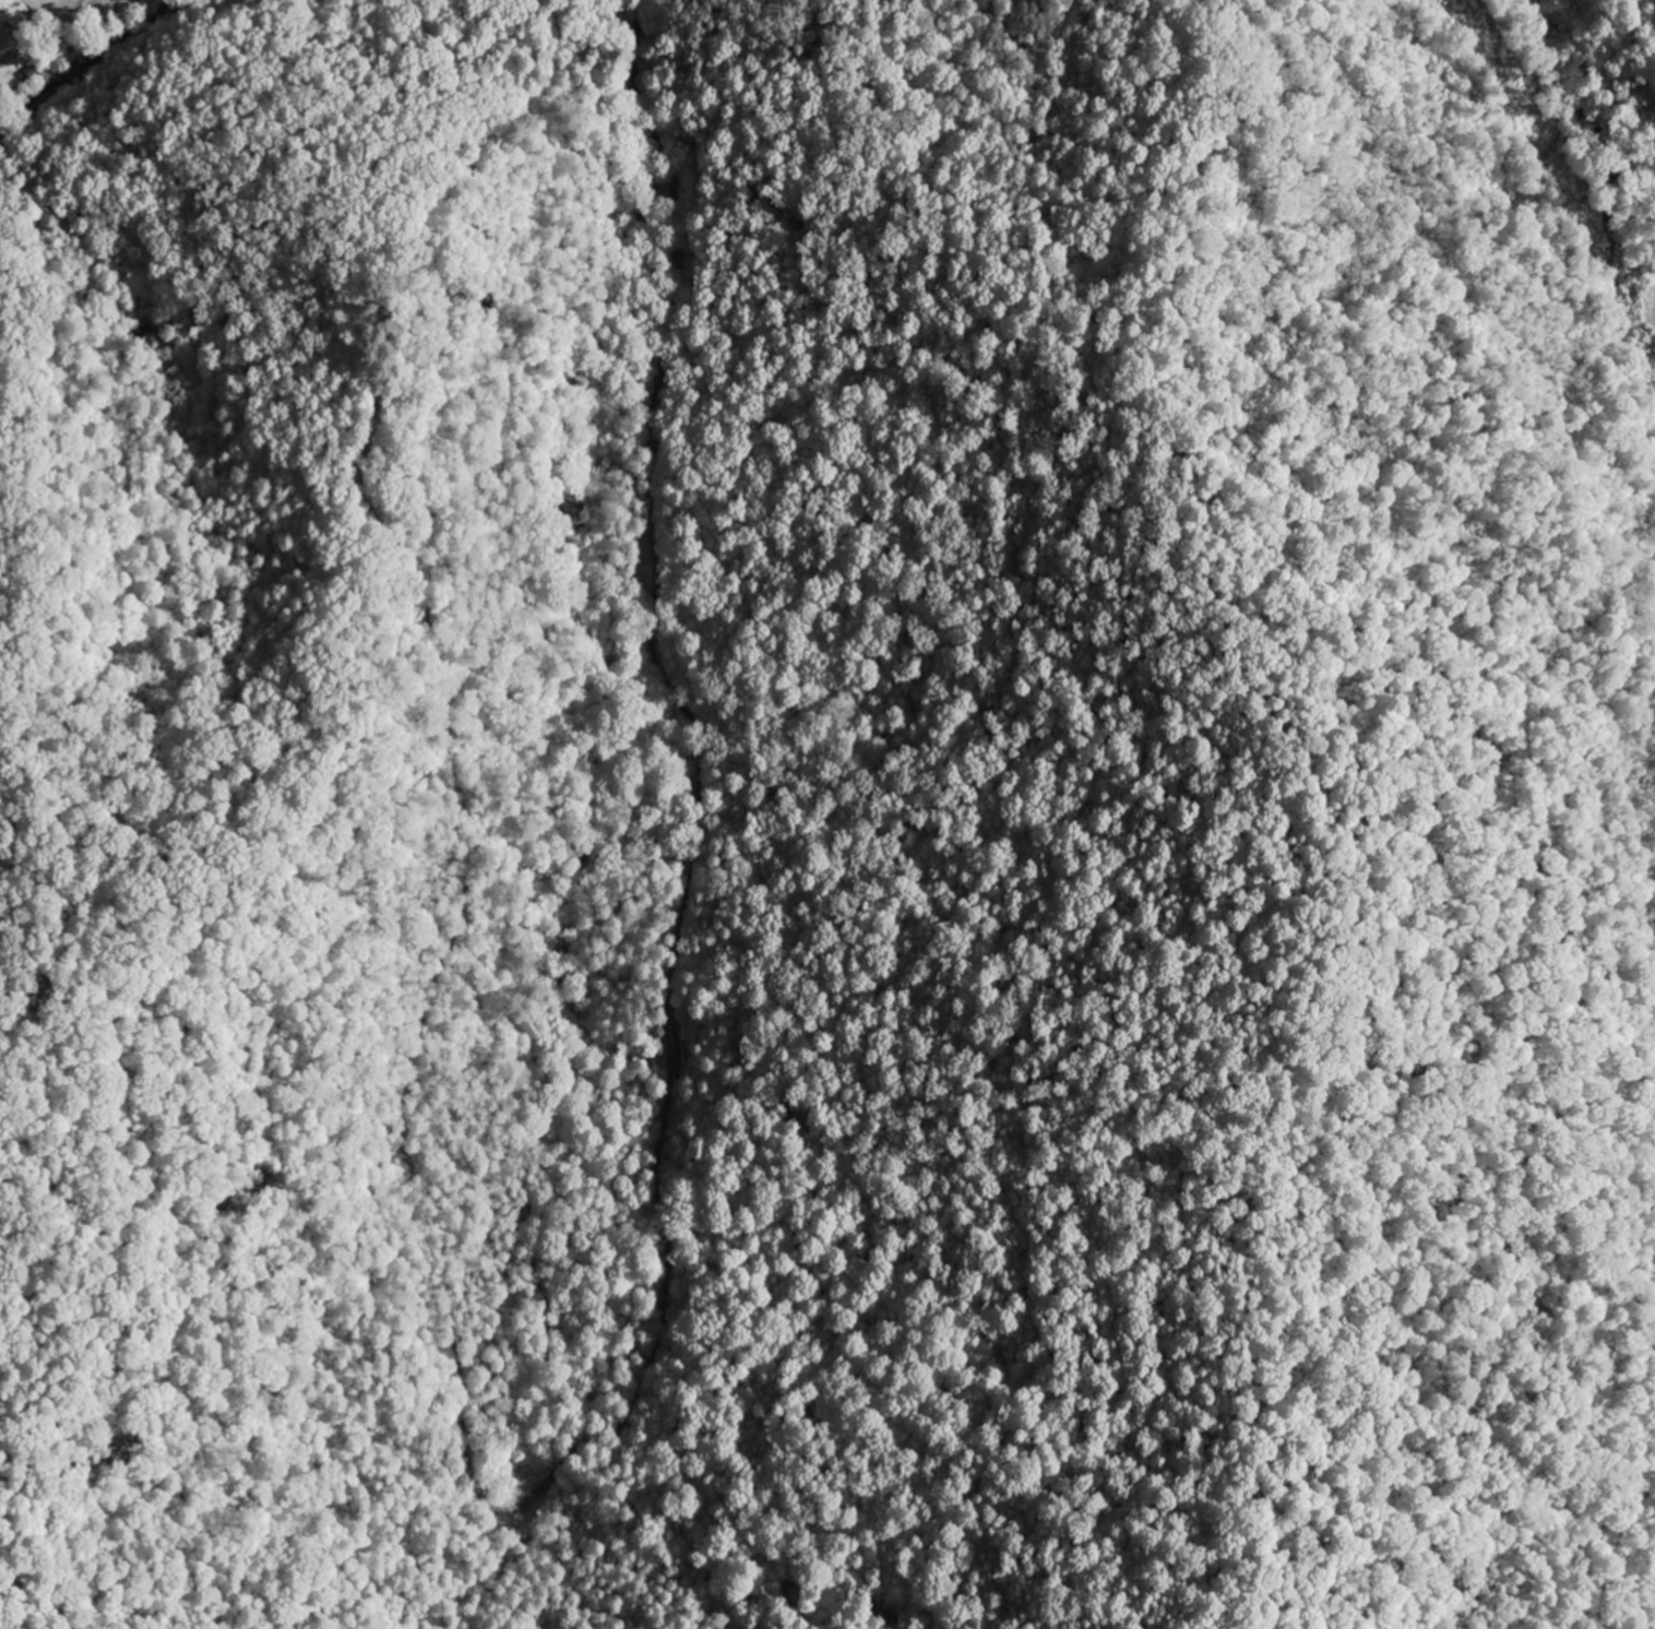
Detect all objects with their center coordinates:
building: (8, 45)
road: (1509, 200)

